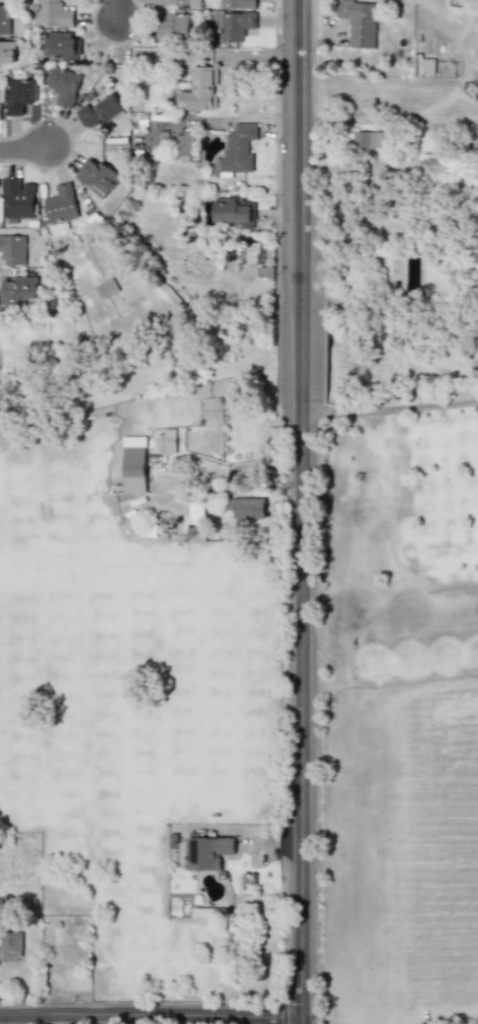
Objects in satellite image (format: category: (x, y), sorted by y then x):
building: (177, 3)
building: (238, 4)
road: (117, 10)
building: (4, 19)
building: (359, 23)
building: (235, 26)
building: (174, 28)
building: (61, 45)
building: (7, 53)
building: (424, 66)
building: (64, 86)
building: (198, 91)
building: (19, 95)
road: (428, 109)
road: (453, 110)
building: (0, 112)
building: (99, 112)
road: (256, 120)
building: (371, 141)
building: (184, 144)
road: (24, 148)
building: (239, 149)
road: (302, 150)
building: (433, 163)
building: (97, 178)
building: (19, 198)
building: (61, 204)
building: (234, 211)
building: (13, 249)
building: (255, 253)
building: (106, 288)
building: (17, 289)
road: (303, 352)
road: (390, 410)
building: (165, 440)
building: (134, 464)
building: (247, 508)
building: (196, 514)
road: (302, 713)
building: (205, 852)
building: (10, 946)
road: (151, 1014)
road: (39, 1019)

